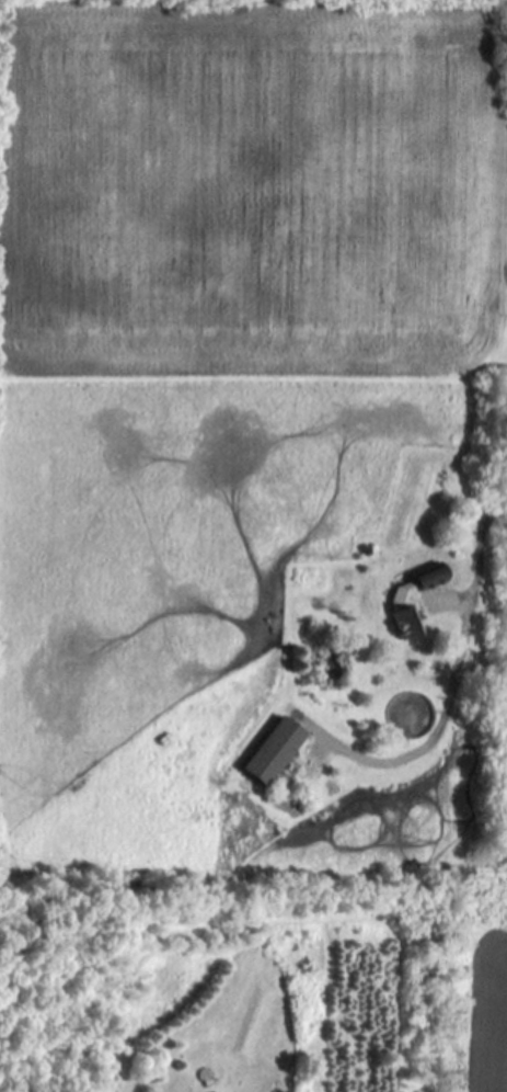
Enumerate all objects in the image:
building: (404, 611)
building: (274, 748)
road: (471, 991)
building: (222, 1091)

